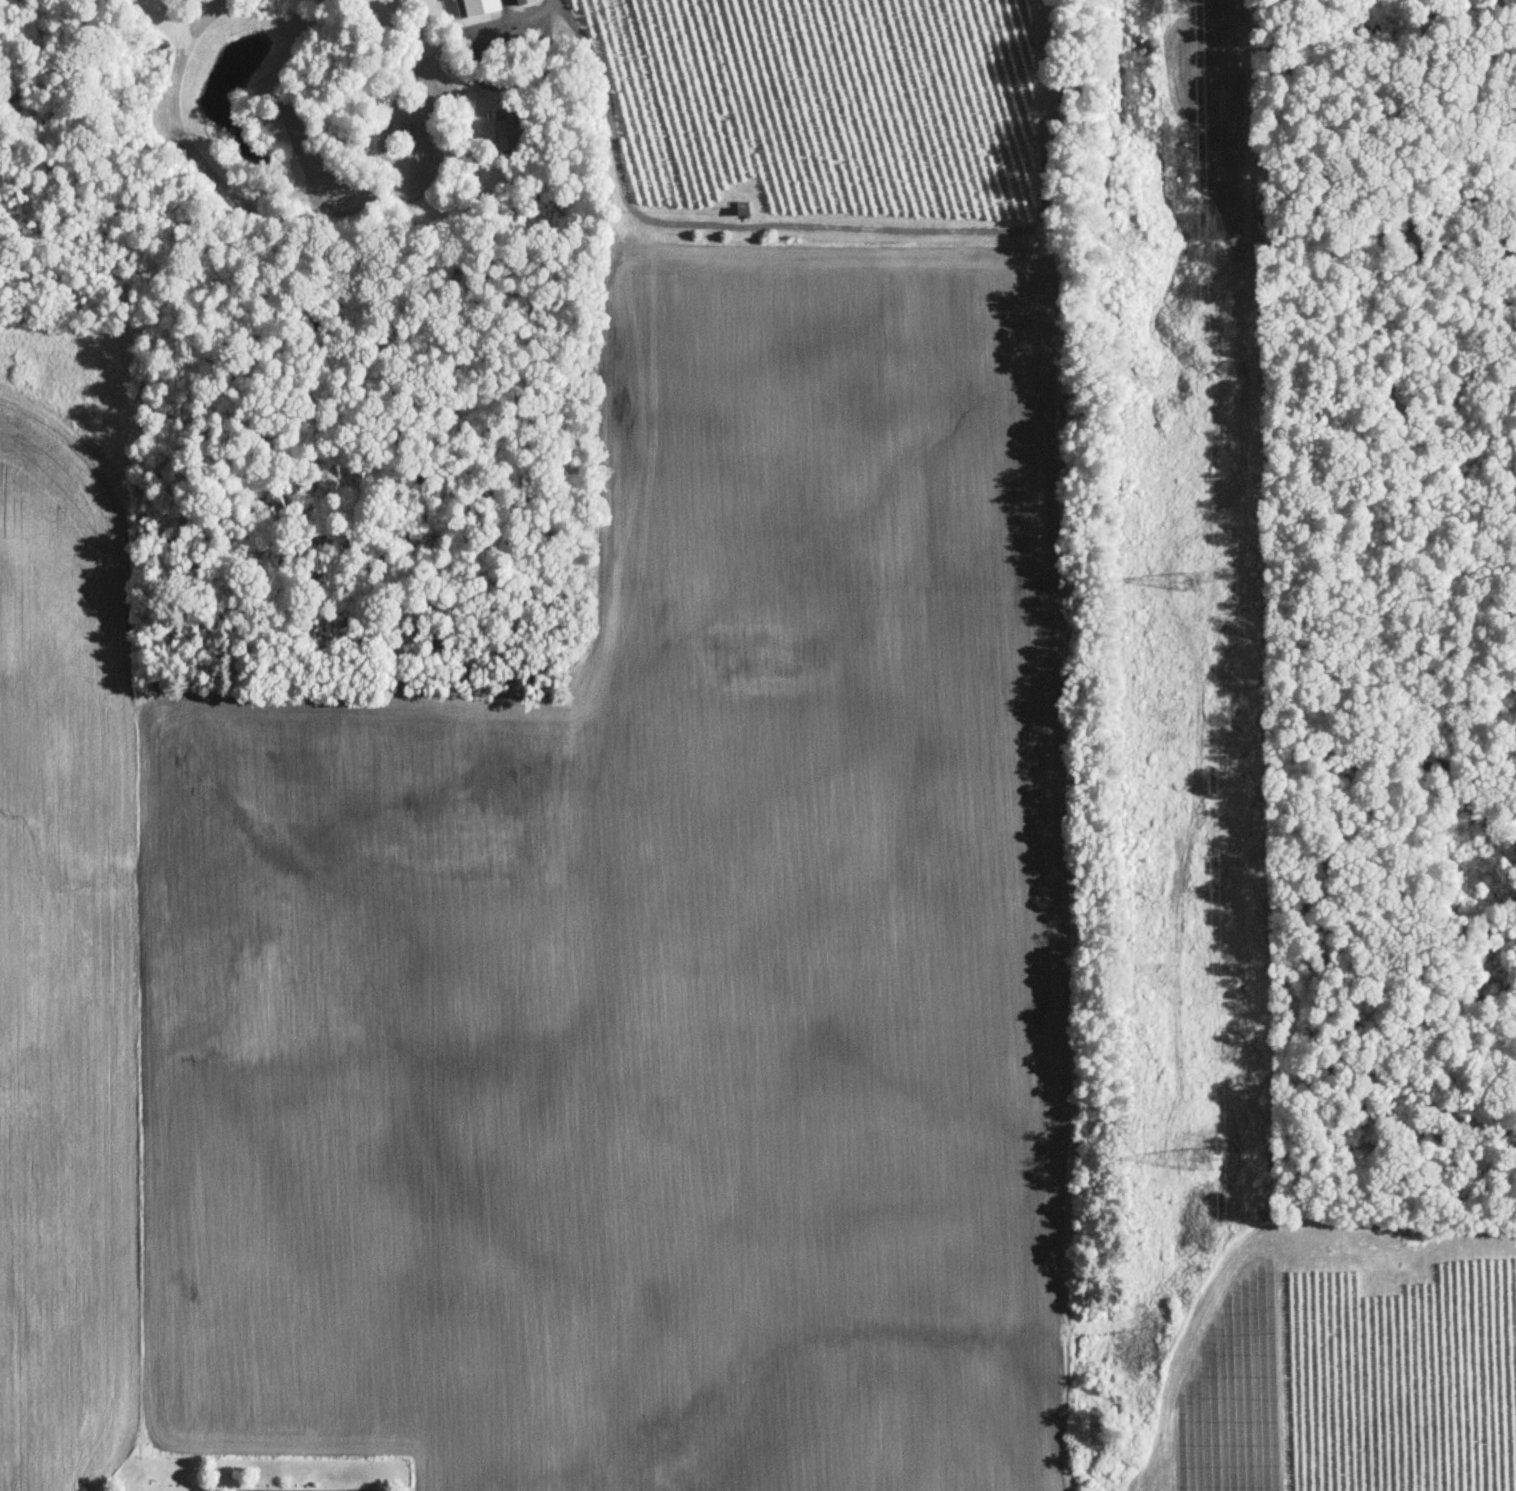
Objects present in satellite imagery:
building: (524, 3)
building: (478, 8)
building: (505, 125)
power tower: (1184, 570)
power tower: (1191, 1148)
road: (305, 1489)

